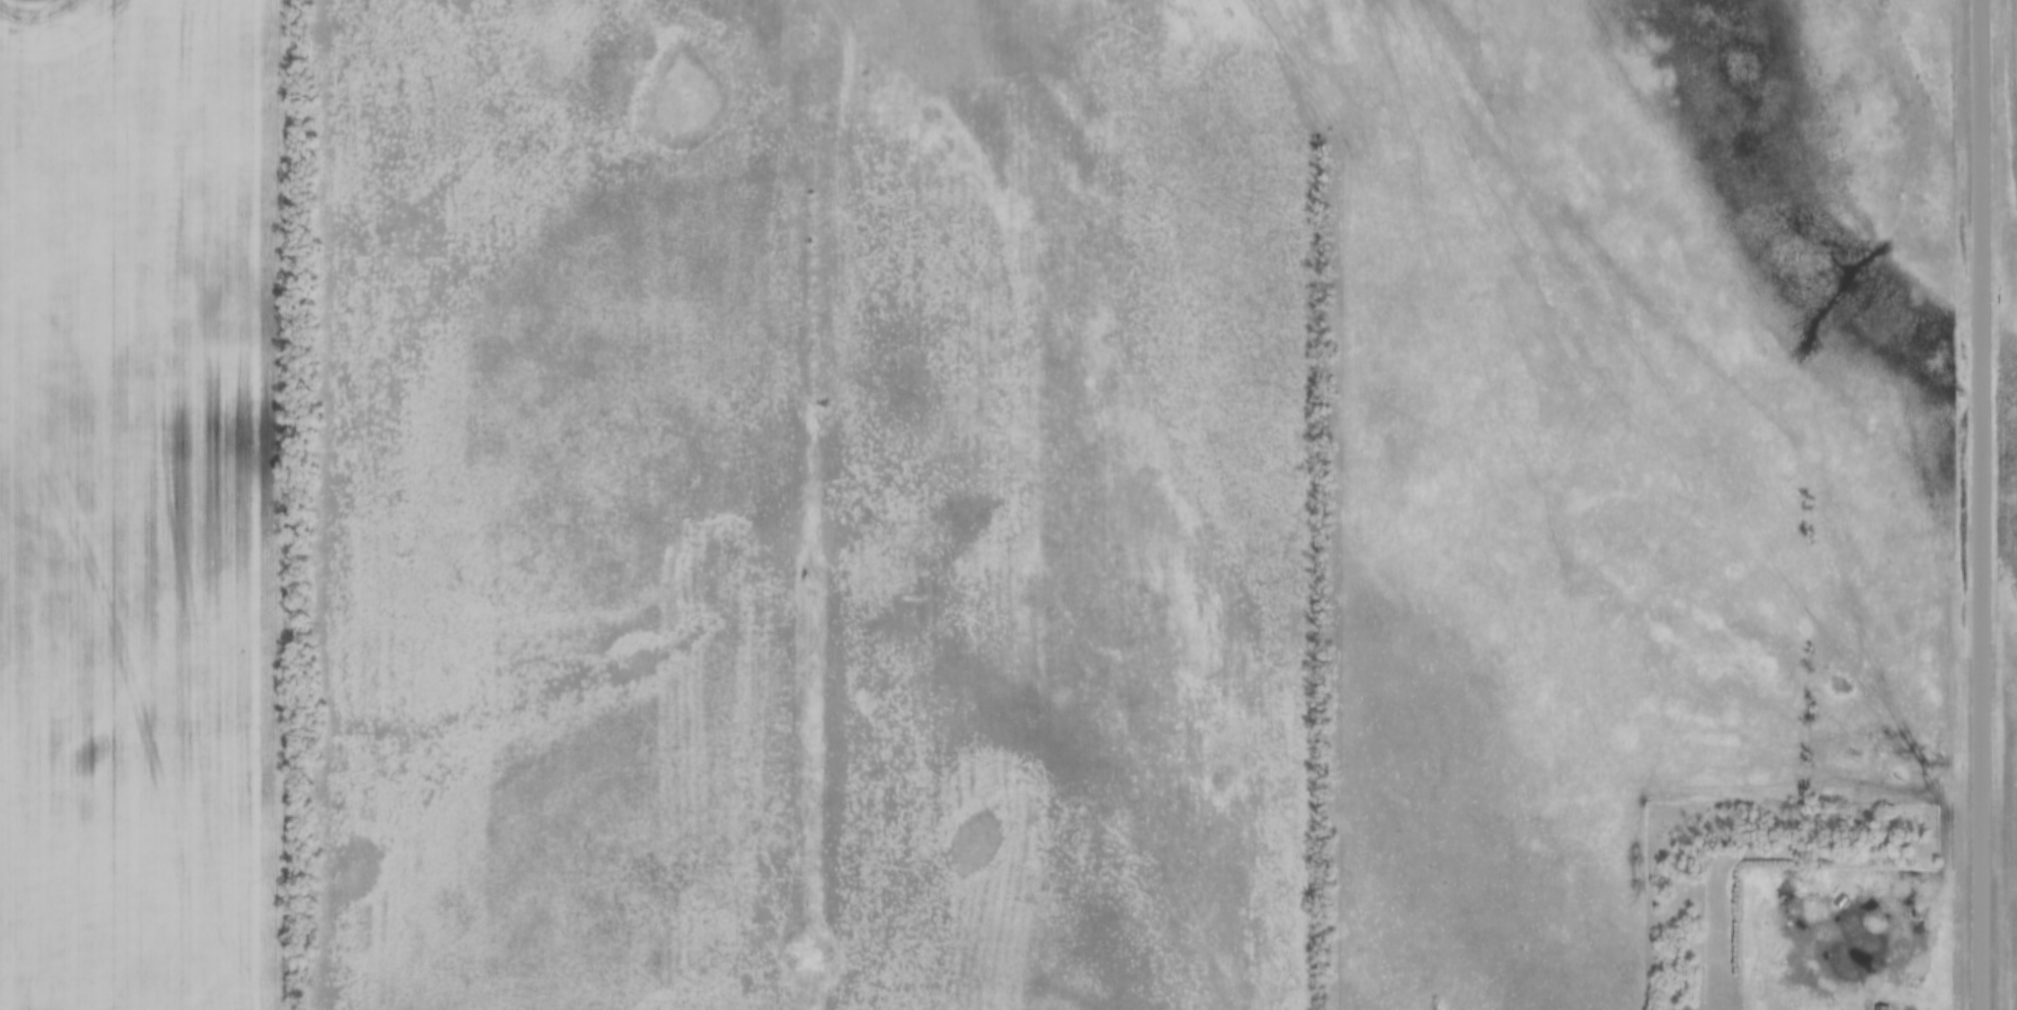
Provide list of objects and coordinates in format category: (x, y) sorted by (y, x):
road: (1982, 504)
building: (1783, 889)
building: (1883, 1008)

